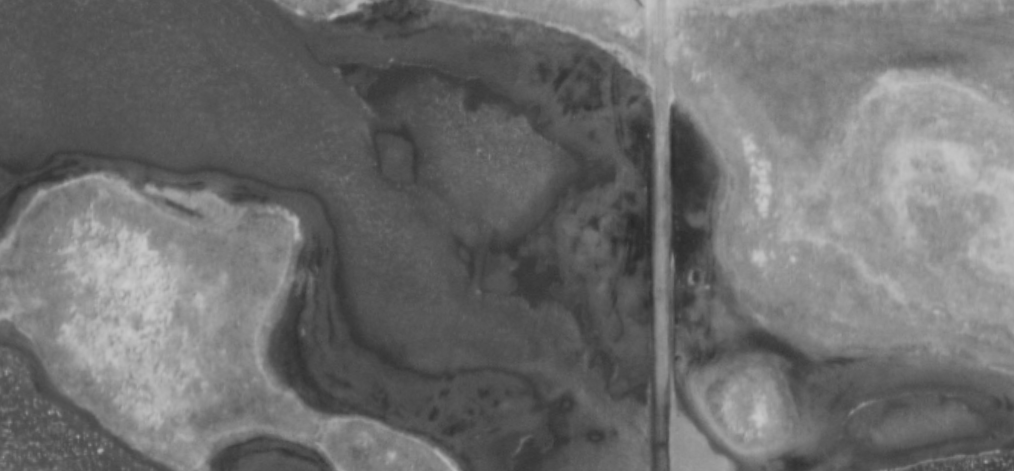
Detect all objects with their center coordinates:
road: (663, 235)

